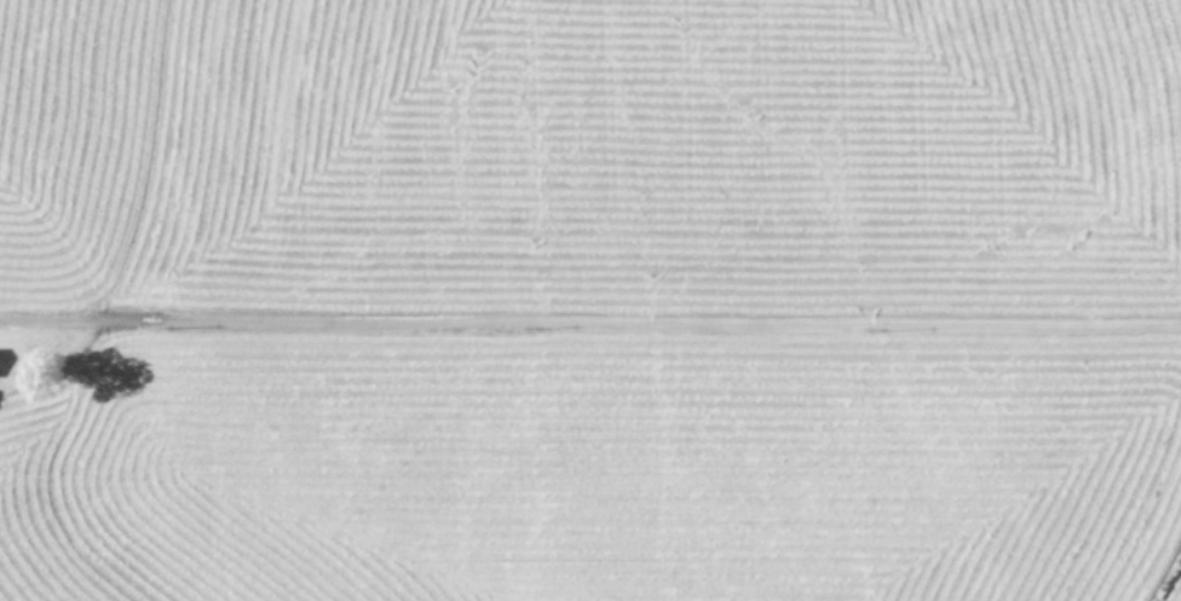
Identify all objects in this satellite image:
crop: (590, 300)

